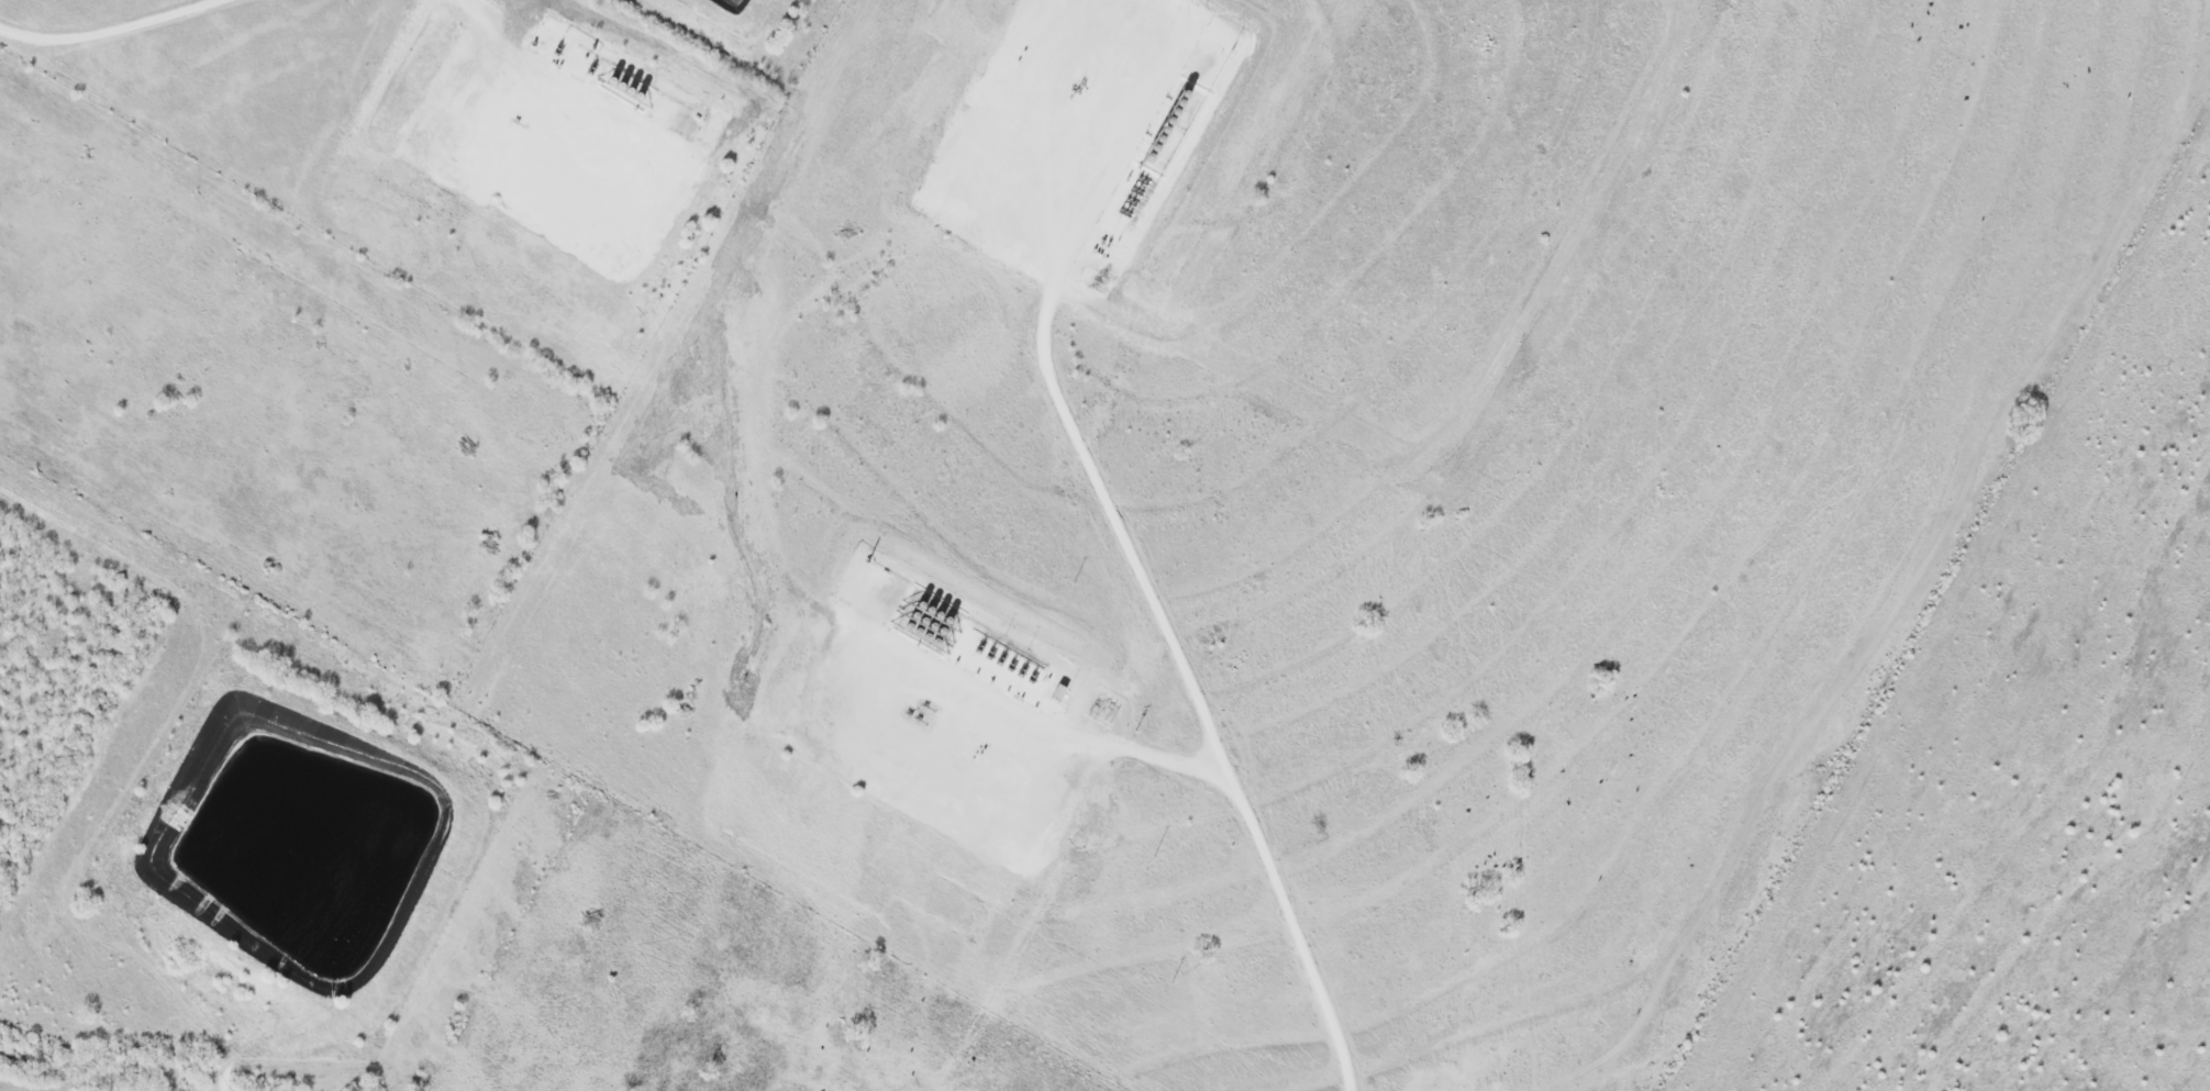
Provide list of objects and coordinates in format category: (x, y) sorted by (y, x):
road: (503, 3)
road: (107, 32)
road: (1177, 643)
road: (1137, 764)

